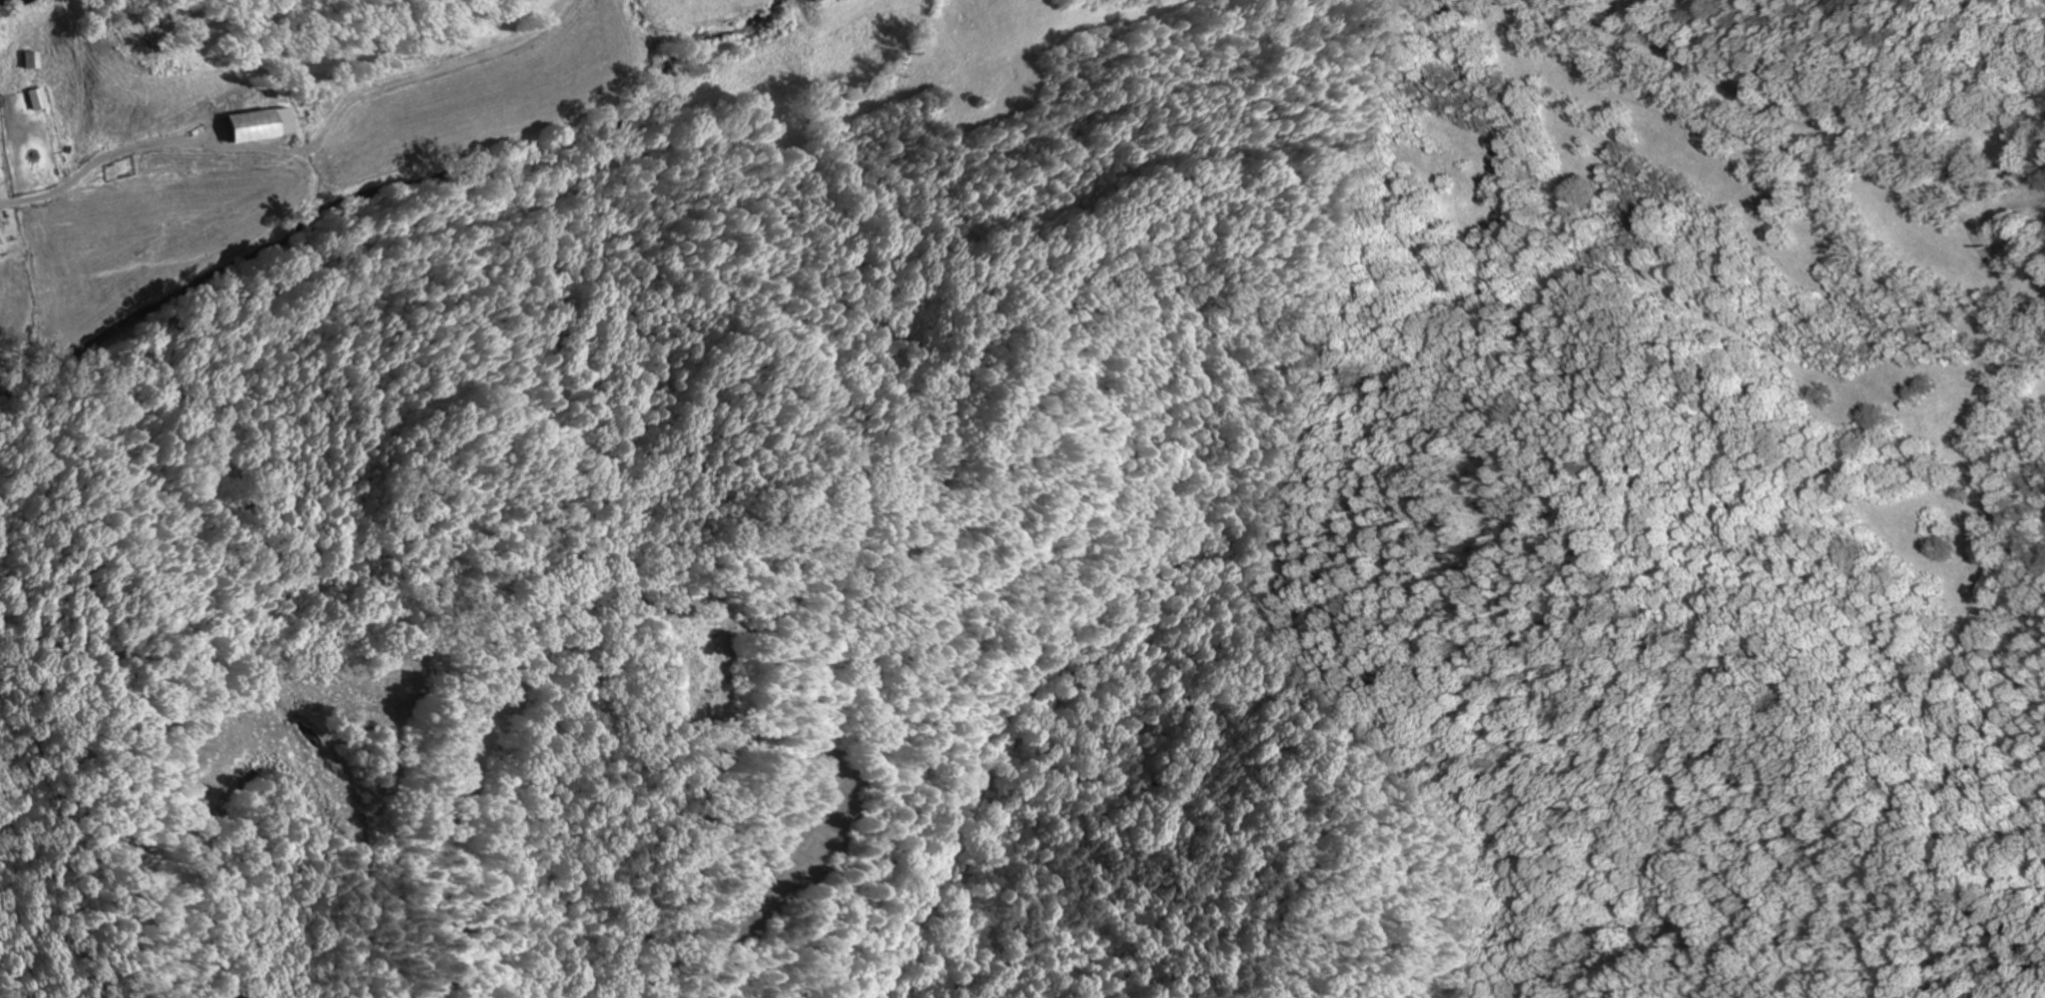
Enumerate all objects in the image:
building: (907, 0)
building: (39, 101)
building: (260, 128)
road: (91, 166)

